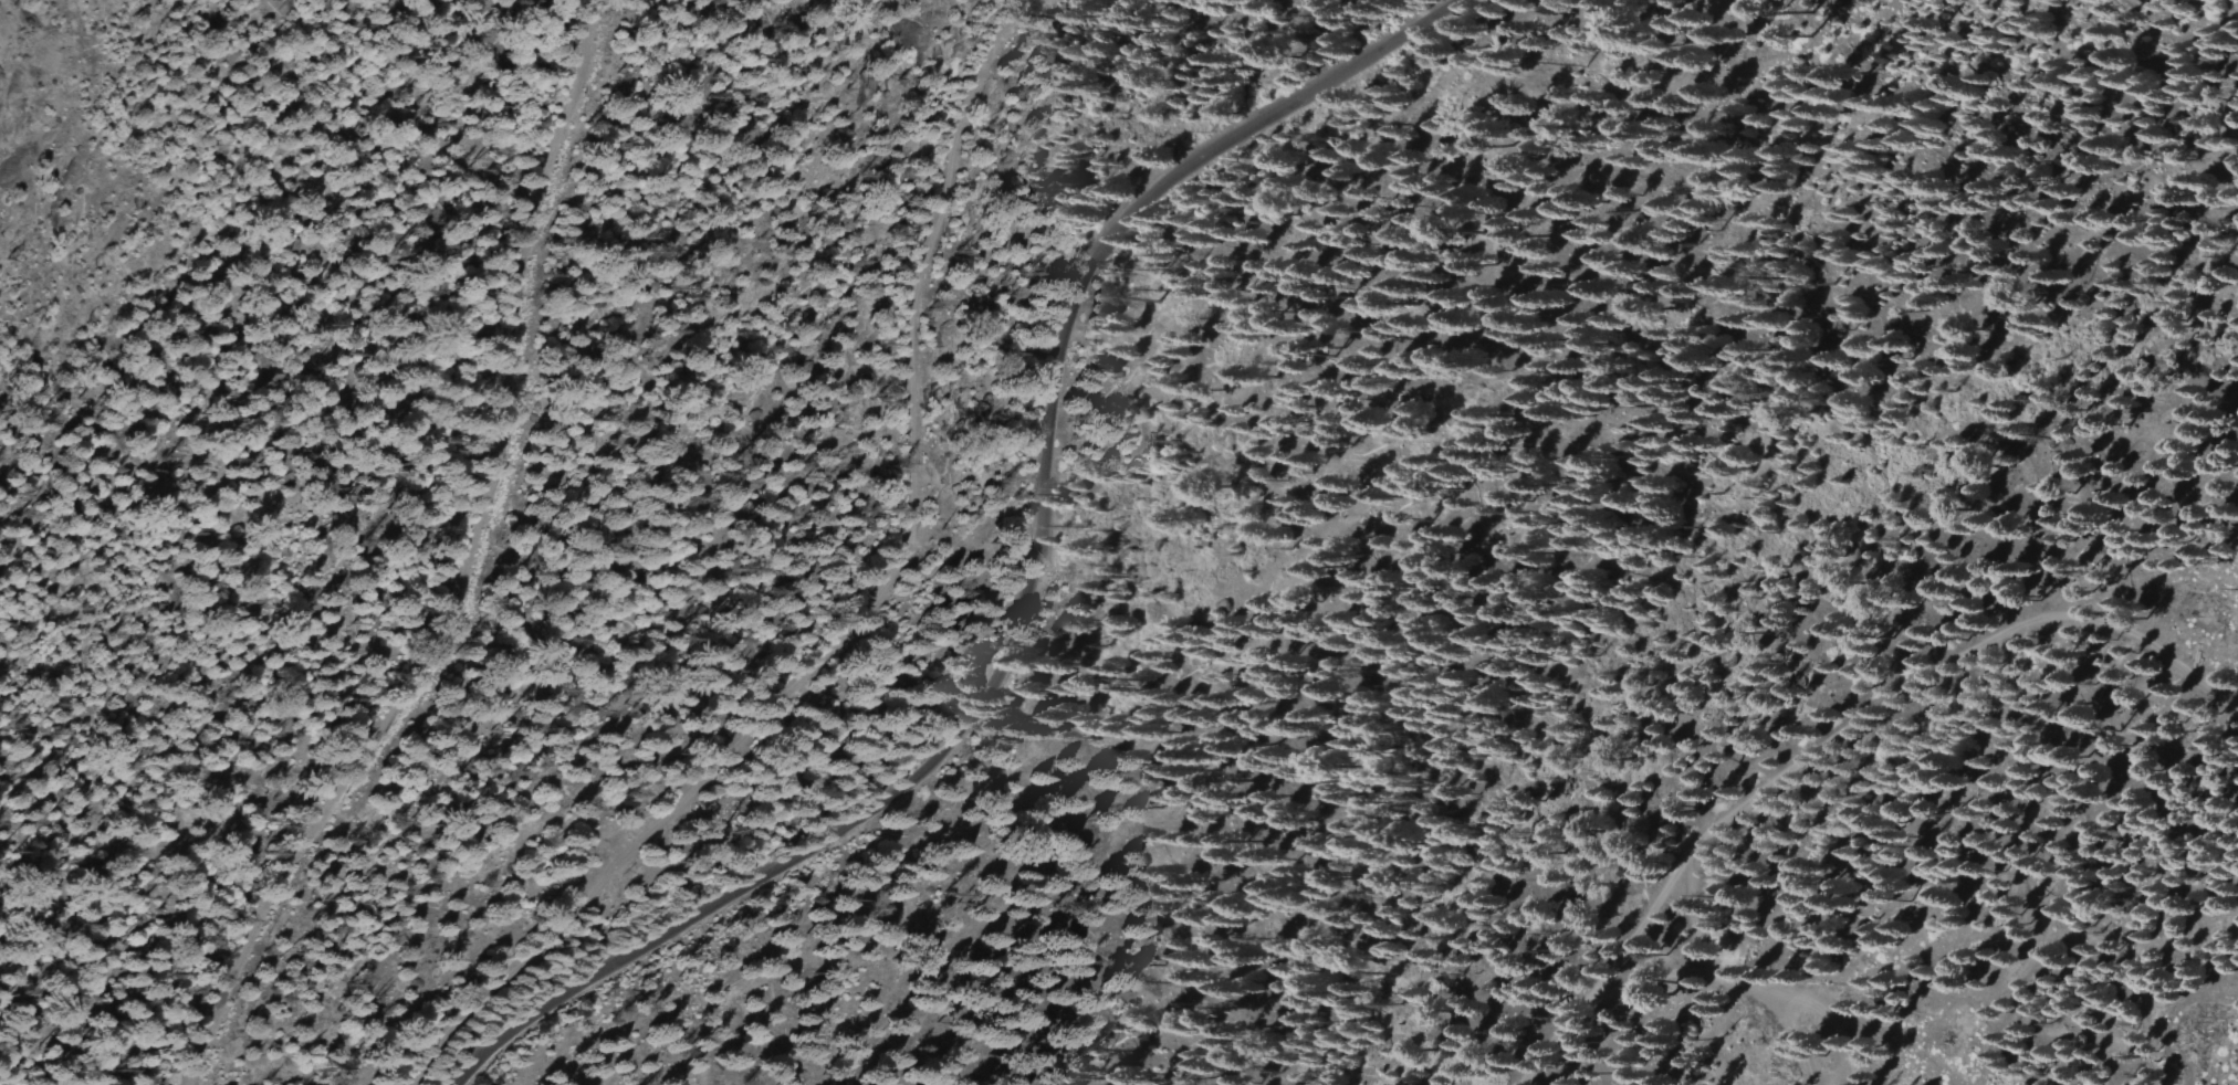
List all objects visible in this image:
road: (927, 509)
road: (1026, 578)
road: (1947, 660)
road: (1718, 969)
road: (1611, 972)

